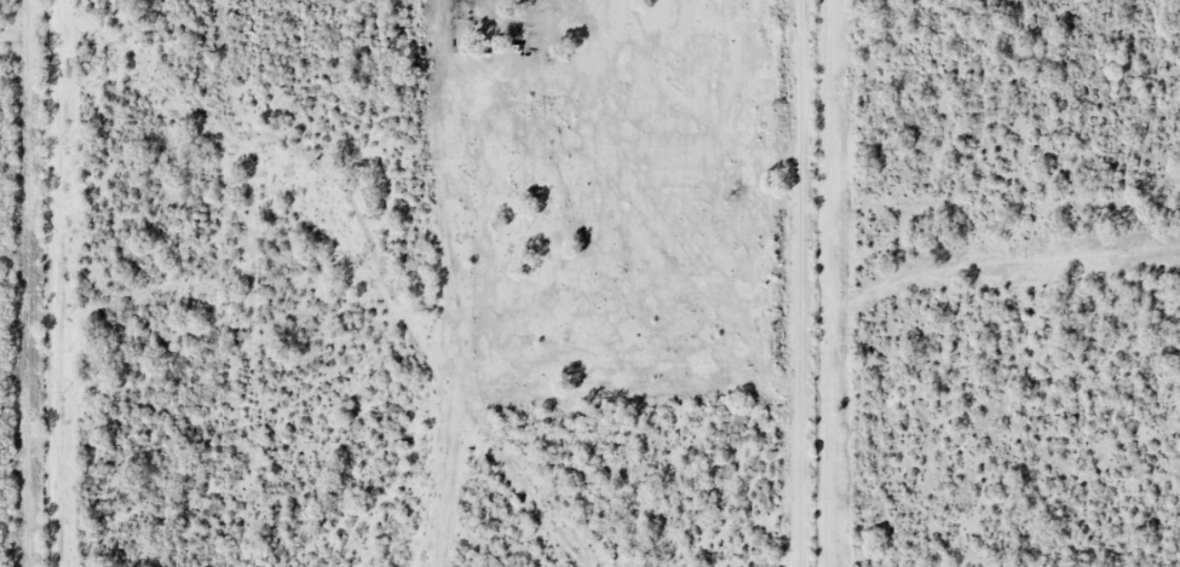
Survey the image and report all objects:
road: (19, 283)
road: (782, 283)

